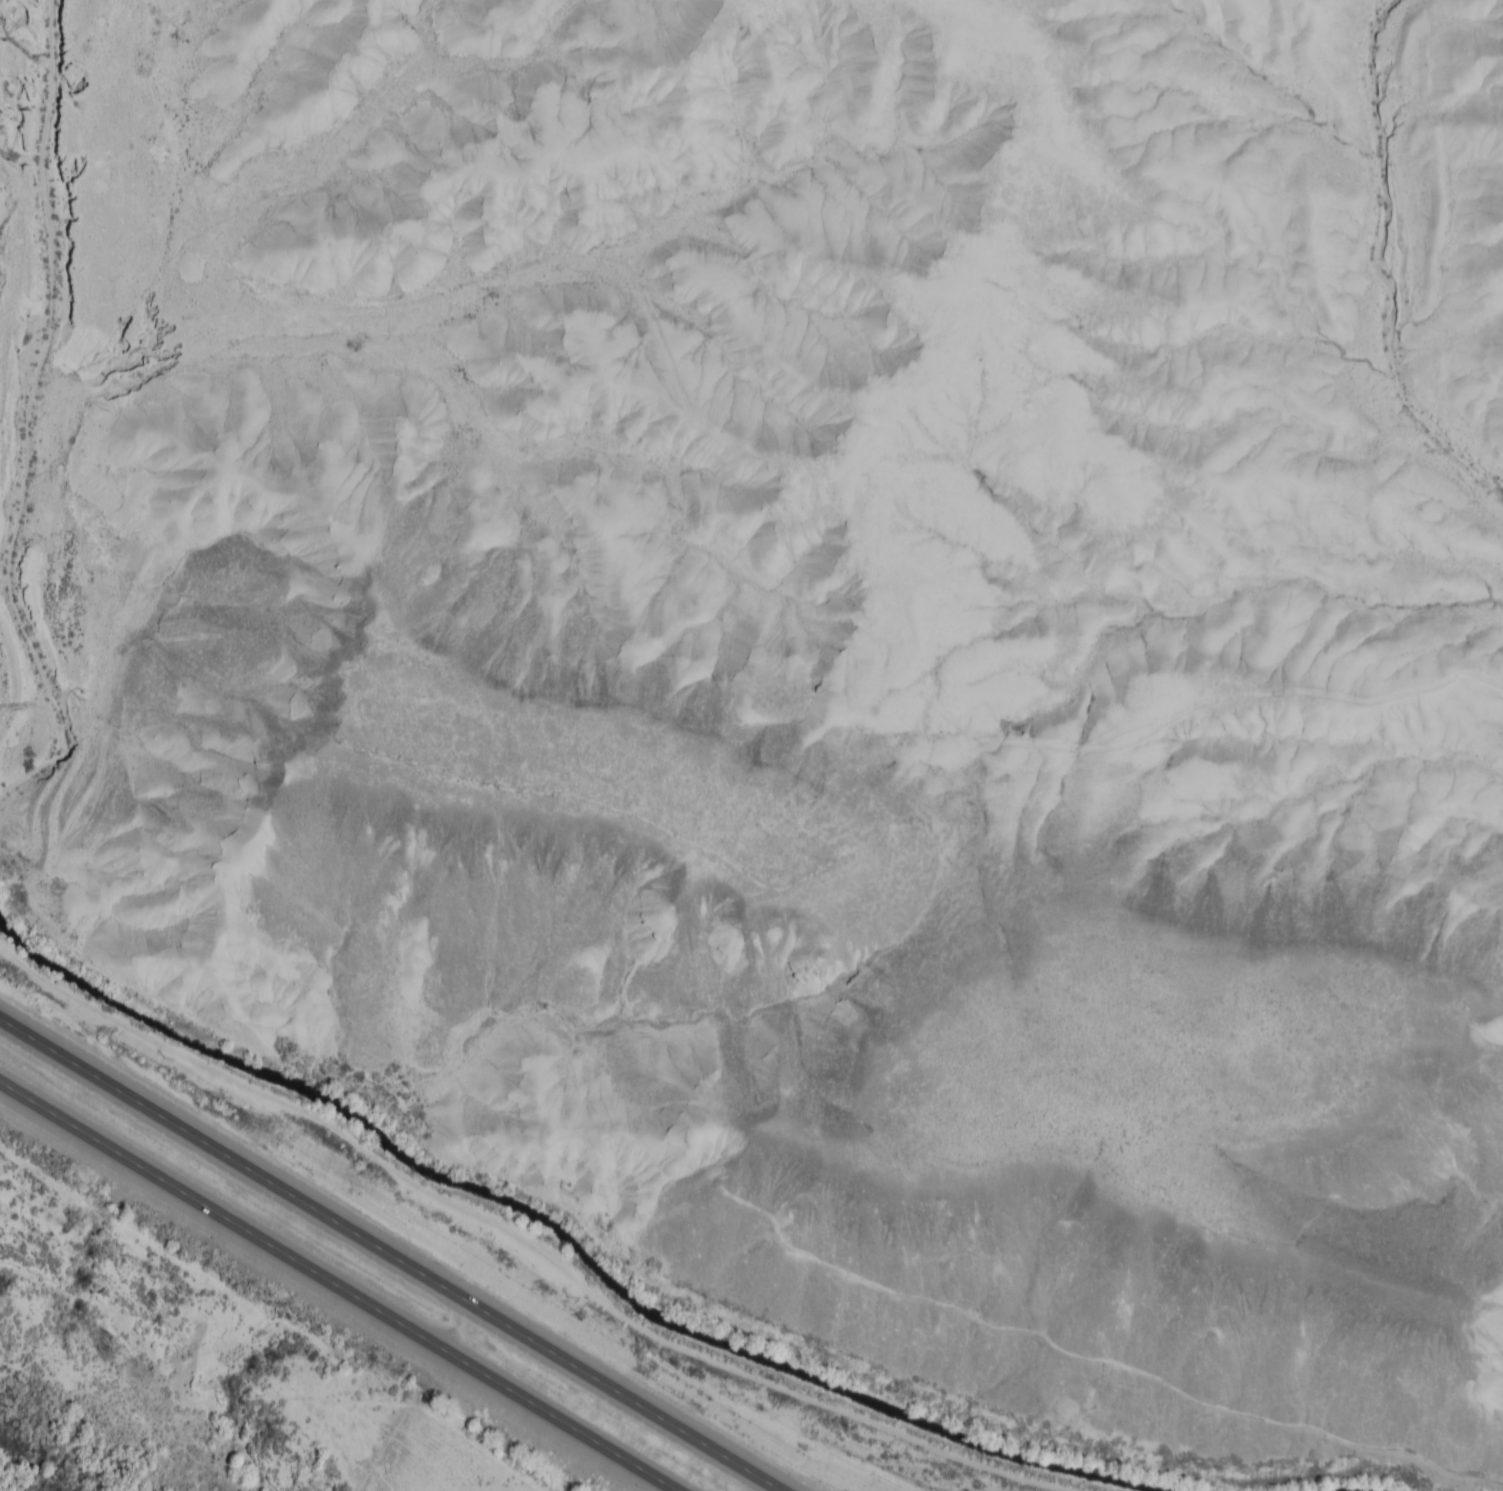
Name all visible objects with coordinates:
road: (389, 1255)
road: (336, 1286)

